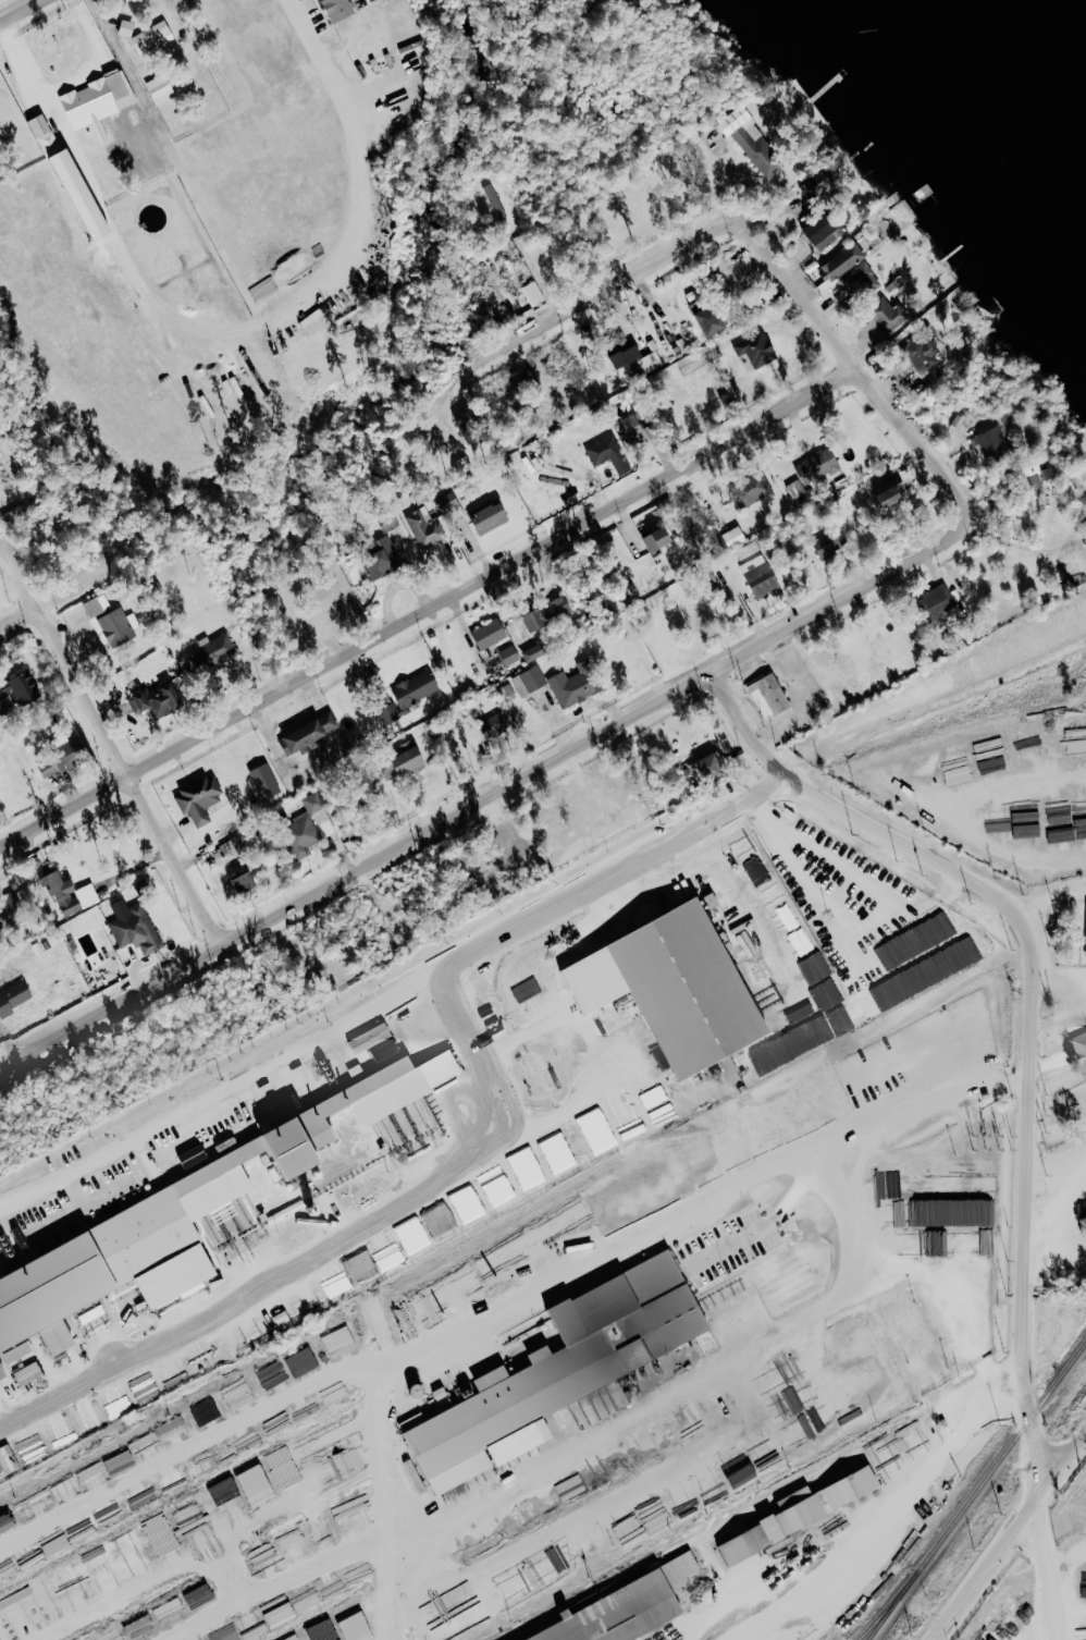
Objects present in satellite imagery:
road: (16, 9)
building: (338, 9)
building: (126, 28)
building: (152, 37)
road: (94, 58)
building: (160, 89)
building: (99, 96)
building: (45, 134)
building: (755, 142)
building: (62, 167)
road: (89, 185)
building: (816, 186)
building: (496, 201)
road: (360, 206)
building: (844, 261)
road: (654, 262)
building: (861, 280)
building: (533, 294)
building: (888, 315)
building: (713, 321)
building: (756, 350)
building: (921, 355)
building: (628, 360)
road: (888, 391)
building: (635, 430)
building: (991, 444)
building: (609, 454)
building: (813, 475)
building: (750, 489)
building: (894, 498)
road: (206, 514)
building: (491, 518)
building: (425, 528)
building: (735, 537)
building: (658, 539)
building: (829, 554)
building: (383, 562)
building: (757, 570)
building: (934, 601)
road: (432, 602)
building: (109, 622)
building: (490, 634)
building: (211, 652)
building: (533, 653)
building: (509, 656)
building: (561, 684)
building: (416, 689)
building: (23, 690)
building: (769, 696)
building: (158, 700)
road: (933, 703)
building: (390, 717)
building: (495, 726)
building: (312, 733)
road: (111, 741)
building: (410, 760)
building: (711, 767)
road: (492, 795)
building: (199, 798)
building: (308, 825)
road: (1041, 873)
building: (245, 882)
building: (70, 893)
building: (774, 896)
building: (712, 899)
building: (1083, 928)
building: (136, 929)
building: (745, 938)
road: (615, 987)
building: (677, 987)
building: (13, 998)
road: (1029, 1000)
road: (392, 1001)
building: (371, 1038)
building: (1078, 1049)
building: (385, 1050)
road: (678, 1057)
building: (823, 1100)
building: (287, 1105)
building: (629, 1121)
building: (740, 1134)
building: (601, 1137)
building: (193, 1156)
building: (528, 1171)
road: (1057, 1174)
building: (656, 1187)
building: (466, 1203)
building: (575, 1213)
building: (439, 1220)
building: (165, 1226)
building: (536, 1235)
building: (412, 1236)
road: (708, 1250)
building: (390, 1255)
building: (492, 1261)
road: (186, 1321)
building: (380, 1321)
road: (387, 1338)
building: (338, 1342)
building: (303, 1361)
building: (565, 1370)
building: (270, 1372)
building: (868, 1373)
building: (125, 1386)
building: (469, 1390)
road: (194, 1445)
building: (4, 1461)
building: (342, 1485)
railway: (976, 1490)
building: (243, 1492)
building: (820, 1502)
road: (872, 1515)
building: (7, 1521)
road: (196, 1530)
road: (1004, 1535)
building: (745, 1545)
road: (1047, 1564)
road: (305, 1590)
building: (630, 1607)
railway: (877, 1615)
building: (356, 1627)
building: (139, 1628)
building: (803, 1636)

